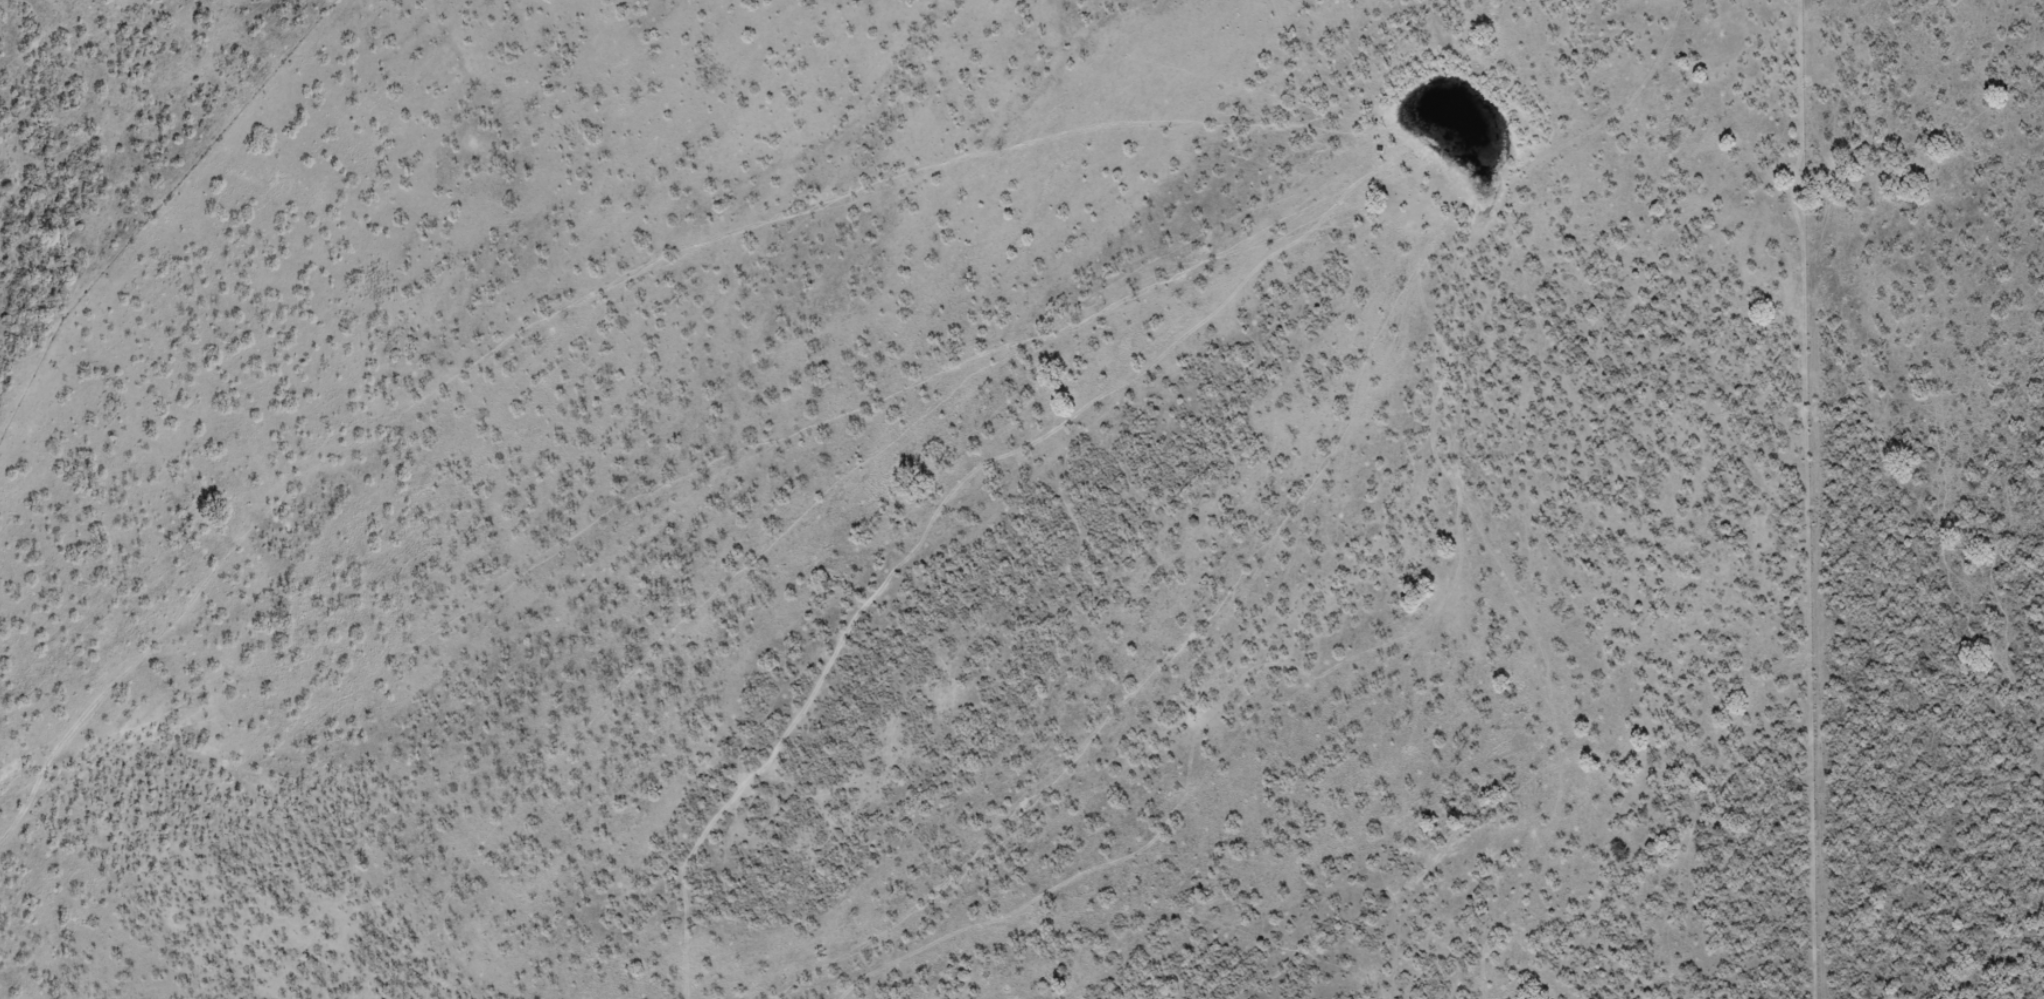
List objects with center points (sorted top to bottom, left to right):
road: (1554, 148)
road: (1268, 268)
road: (1814, 495)

